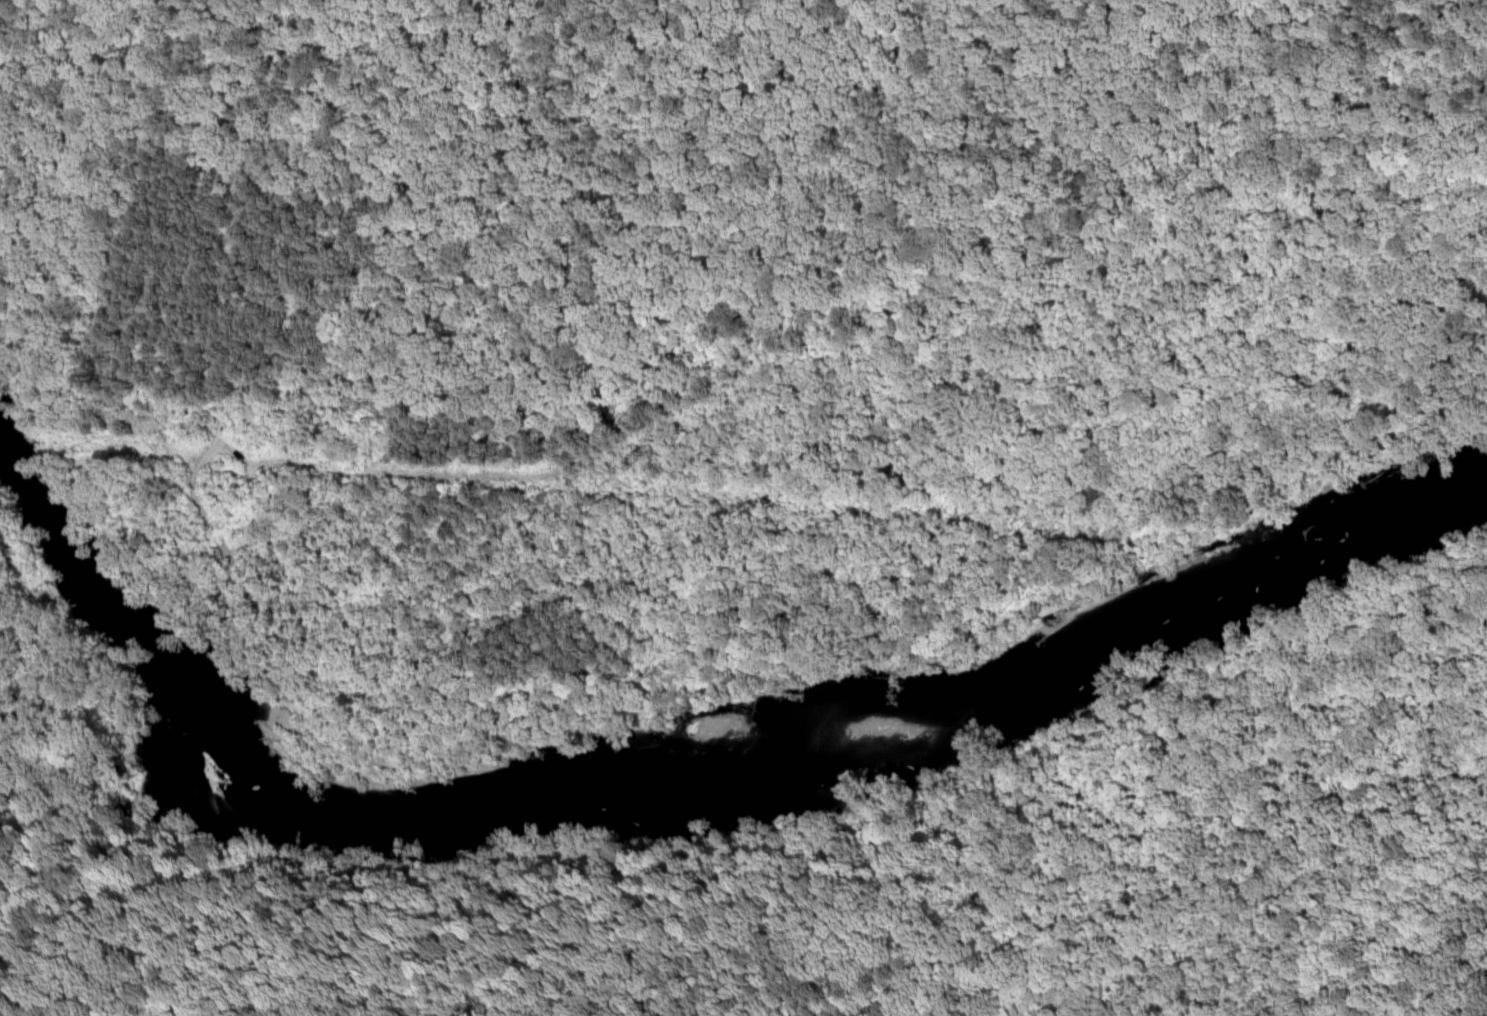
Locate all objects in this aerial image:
road: (246, 188)
road: (1401, 771)
river: (685, 798)

